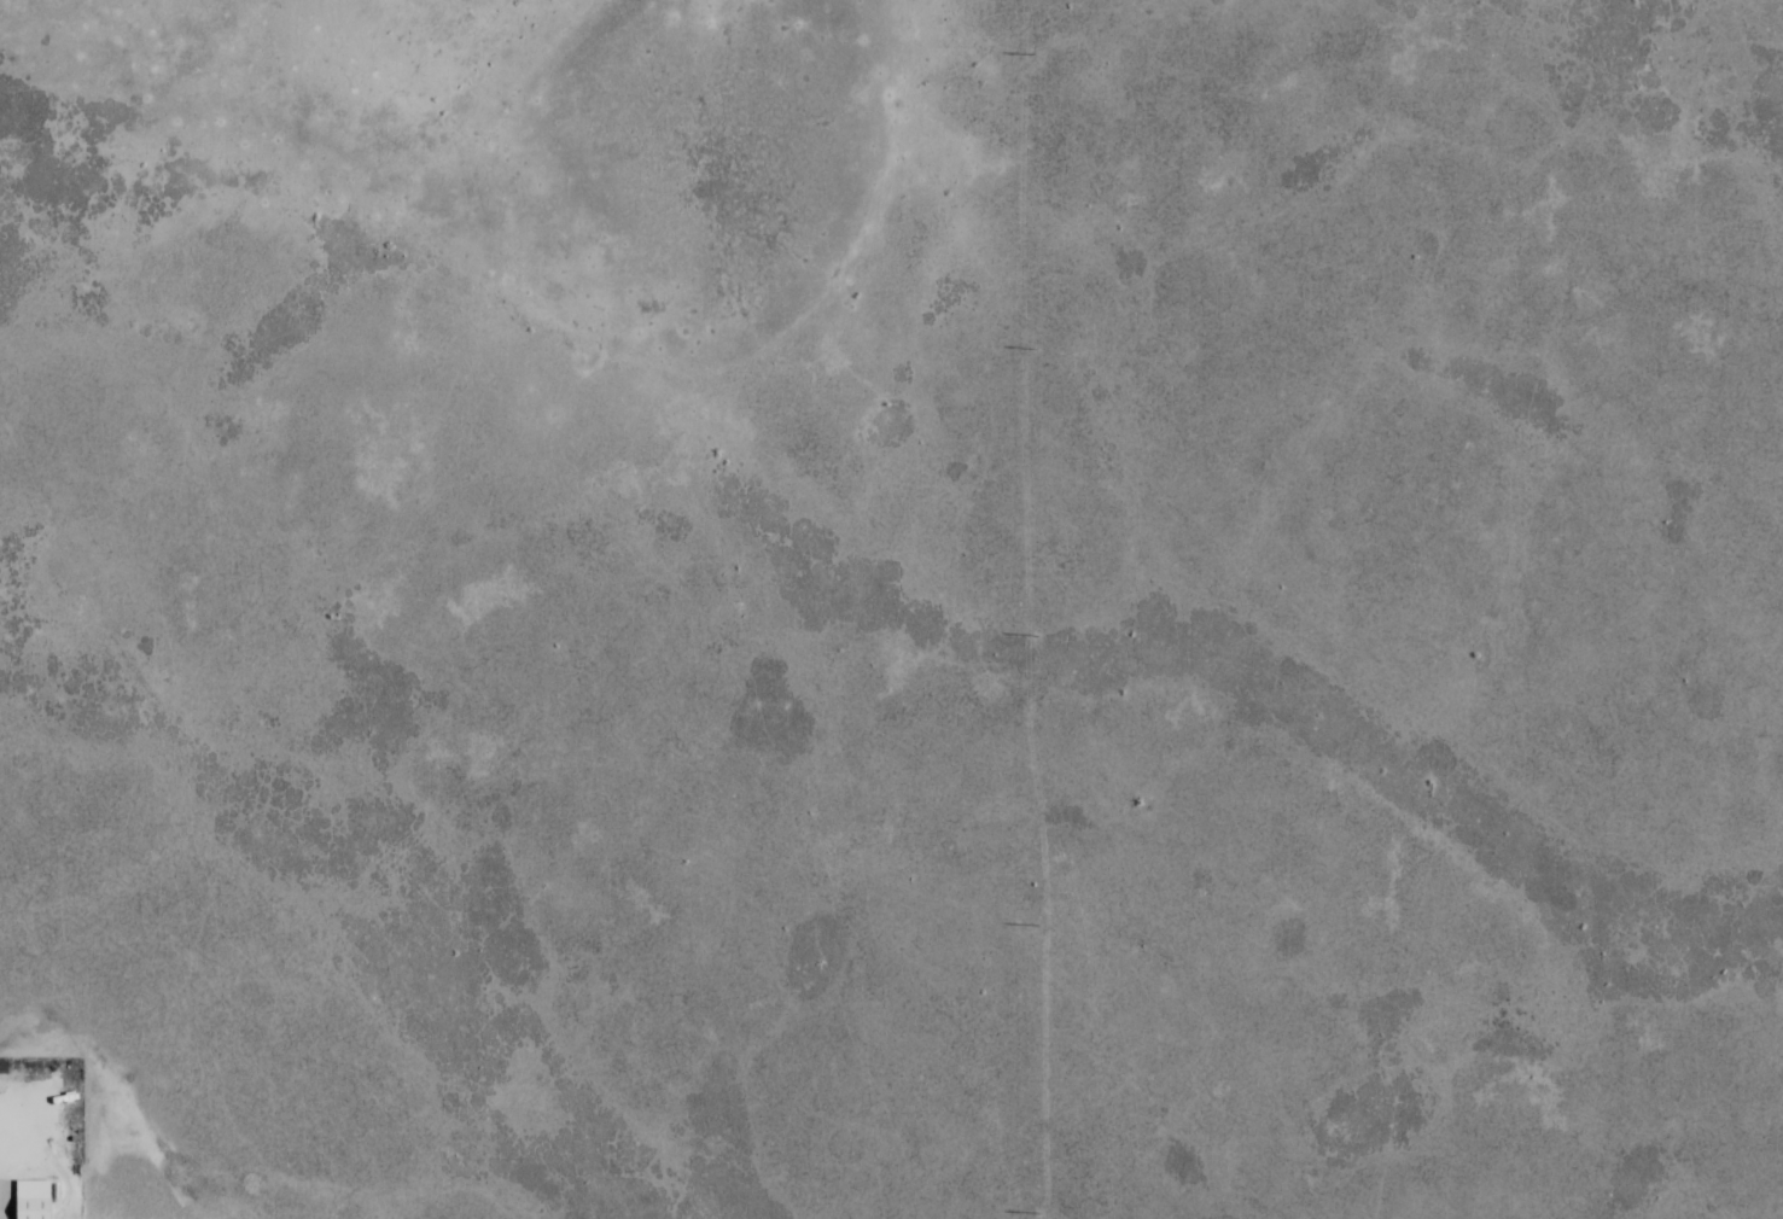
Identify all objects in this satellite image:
building: (30, 1198)

